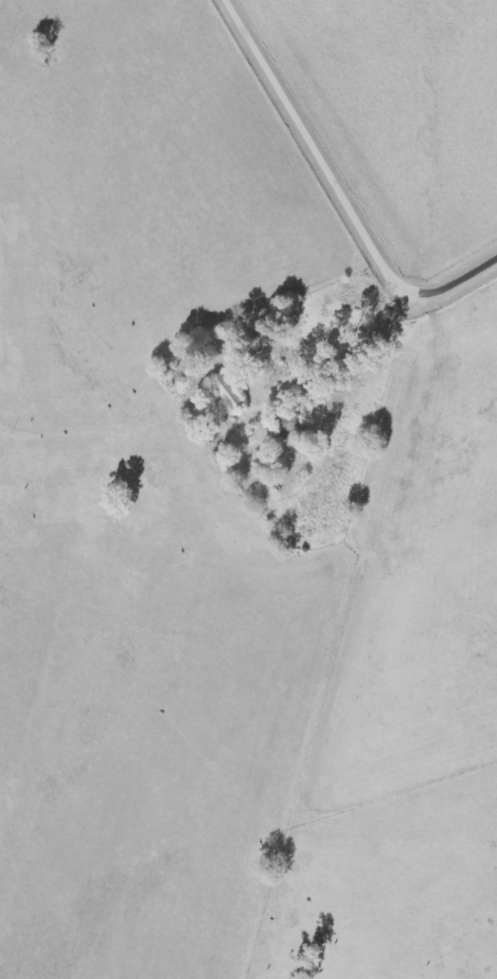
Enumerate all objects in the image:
road: (333, 192)
building: (230, 392)

